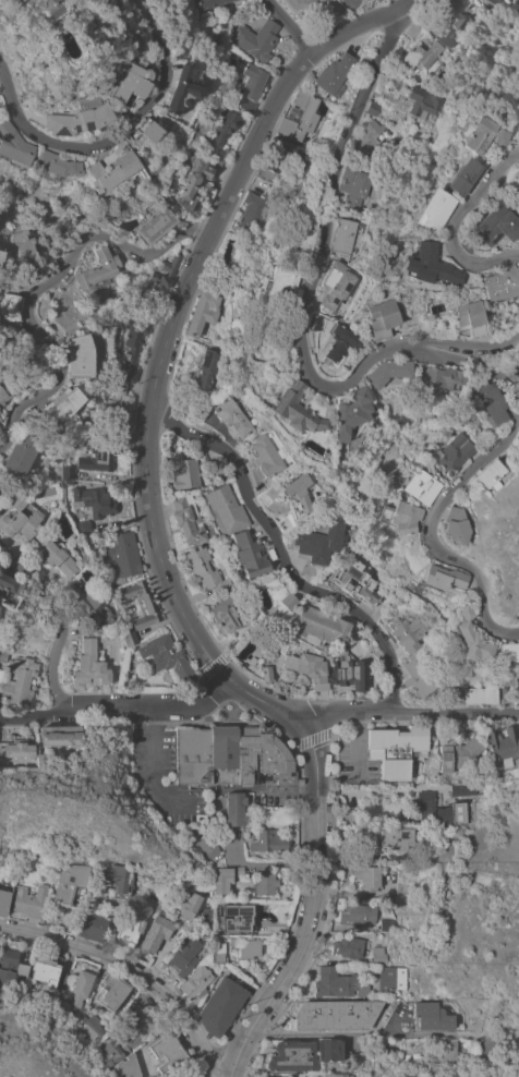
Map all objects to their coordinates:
building: (379, 0)
building: (20, 1)
building: (208, 3)
building: (351, 3)
building: (494, 3)
building: (311, 4)
building: (47, 8)
building: (449, 16)
road: (364, 24)
road: (291, 25)
building: (413, 32)
building: (257, 39)
building: (421, 55)
building: (335, 74)
building: (128, 81)
building: (63, 82)
building: (251, 86)
building: (182, 89)
building: (422, 102)
building: (373, 108)
building: (300, 118)
building: (79, 119)
building: (227, 126)
building: (518, 126)
building: (149, 128)
building: (370, 135)
building: (483, 135)
road: (109, 140)
building: (14, 145)
building: (289, 154)
building: (218, 158)
building: (56, 165)
building: (112, 171)
building: (266, 172)
building: (463, 176)
building: (194, 182)
building: (518, 185)
building: (354, 186)
building: (433, 210)
building: (254, 214)
road: (215, 223)
road: (448, 223)
building: (494, 223)
building: (155, 225)
building: (303, 230)
building: (343, 234)
building: (463, 245)
building: (24, 251)
building: (0, 254)
building: (426, 265)
building: (99, 269)
building: (281, 283)
building: (499, 283)
building: (335, 285)
building: (152, 286)
road: (40, 287)
building: (9, 306)
road: (301, 307)
building: (204, 312)
building: (466, 318)
building: (378, 319)
building: (314, 323)
building: (338, 341)
building: (131, 342)
road: (462, 343)
building: (79, 354)
building: (205, 370)
building: (389, 372)
building: (518, 372)
building: (440, 377)
building: (4, 389)
building: (491, 400)
building: (0, 401)
building: (61, 406)
building: (123, 406)
building: (294, 410)
building: (351, 412)
building: (232, 416)
building: (0, 425)
building: (22, 446)
building: (455, 452)
building: (264, 456)
building: (99, 457)
building: (219, 470)
building: (185, 472)
building: (68, 474)
building: (492, 474)
building: (422, 486)
building: (300, 493)
building: (93, 500)
building: (226, 509)
building: (402, 517)
building: (20, 518)
building: (189, 519)
building: (285, 523)
building: (457, 524)
building: (84, 527)
road: (430, 531)
building: (318, 544)
building: (250, 554)
road: (281, 555)
building: (55, 557)
building: (123, 558)
building: (202, 567)
building: (443, 578)
building: (359, 582)
building: (10, 584)
road: (170, 588)
building: (289, 601)
building: (92, 606)
building: (150, 607)
building: (225, 615)
road: (59, 620)
building: (321, 625)
building: (408, 632)
building: (471, 637)
building: (130, 638)
building: (509, 651)
building: (3, 655)
building: (168, 658)
building: (90, 665)
building: (309, 668)
building: (349, 670)
building: (266, 674)
building: (419, 676)
building: (20, 681)
building: (506, 693)
building: (480, 695)
road: (118, 705)
road: (403, 707)
building: (60, 735)
building: (504, 746)
building: (16, 747)
building: (397, 749)
building: (456, 750)
building: (224, 754)
building: (193, 755)
building: (262, 758)
building: (15, 761)
road: (152, 764)
parking lot: (157, 786)
building: (464, 789)
road: (376, 790)
building: (236, 809)
building: (445, 811)
building: (397, 838)
building: (261, 842)
building: (207, 845)
building: (367, 876)
building: (118, 880)
building: (222, 880)
building: (69, 882)
building: (265, 882)
building: (403, 888)
building: (29, 900)
building: (3, 901)
building: (188, 904)
road: (313, 904)
building: (358, 913)
building: (237, 917)
building: (205, 918)
building: (387, 923)
building: (93, 924)
building: (132, 925)
building: (157, 932)
building: (348, 946)
building: (245, 947)
building: (219, 953)
building: (186, 954)
building: (378, 955)
building: (10, 965)
road: (131, 968)
building: (46, 969)
building: (391, 978)
building: (63, 981)
building: (338, 983)
building: (195, 984)
building: (81, 988)
building: (113, 991)
building: (220, 1006)
building: (335, 1015)
building: (432, 1016)
building: (89, 1027)
building: (133, 1032)
road: (314, 1037)
building: (168, 1052)
building: (333, 1052)
building: (112, 1053)
building: (381, 1053)
building: (443, 1054)
building: (292, 1056)
building: (362, 1058)
building: (125, 1067)
building: (334, 1075)

